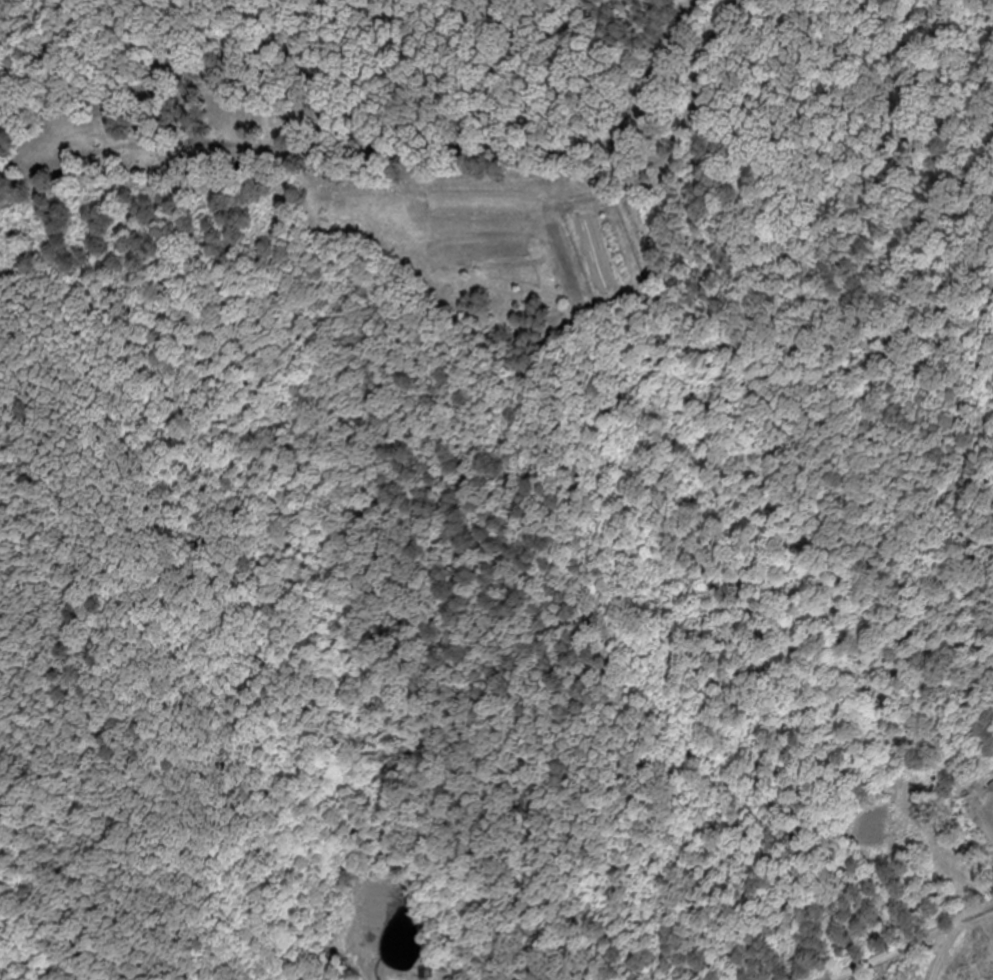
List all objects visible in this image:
road: (914, 945)
road: (944, 951)

